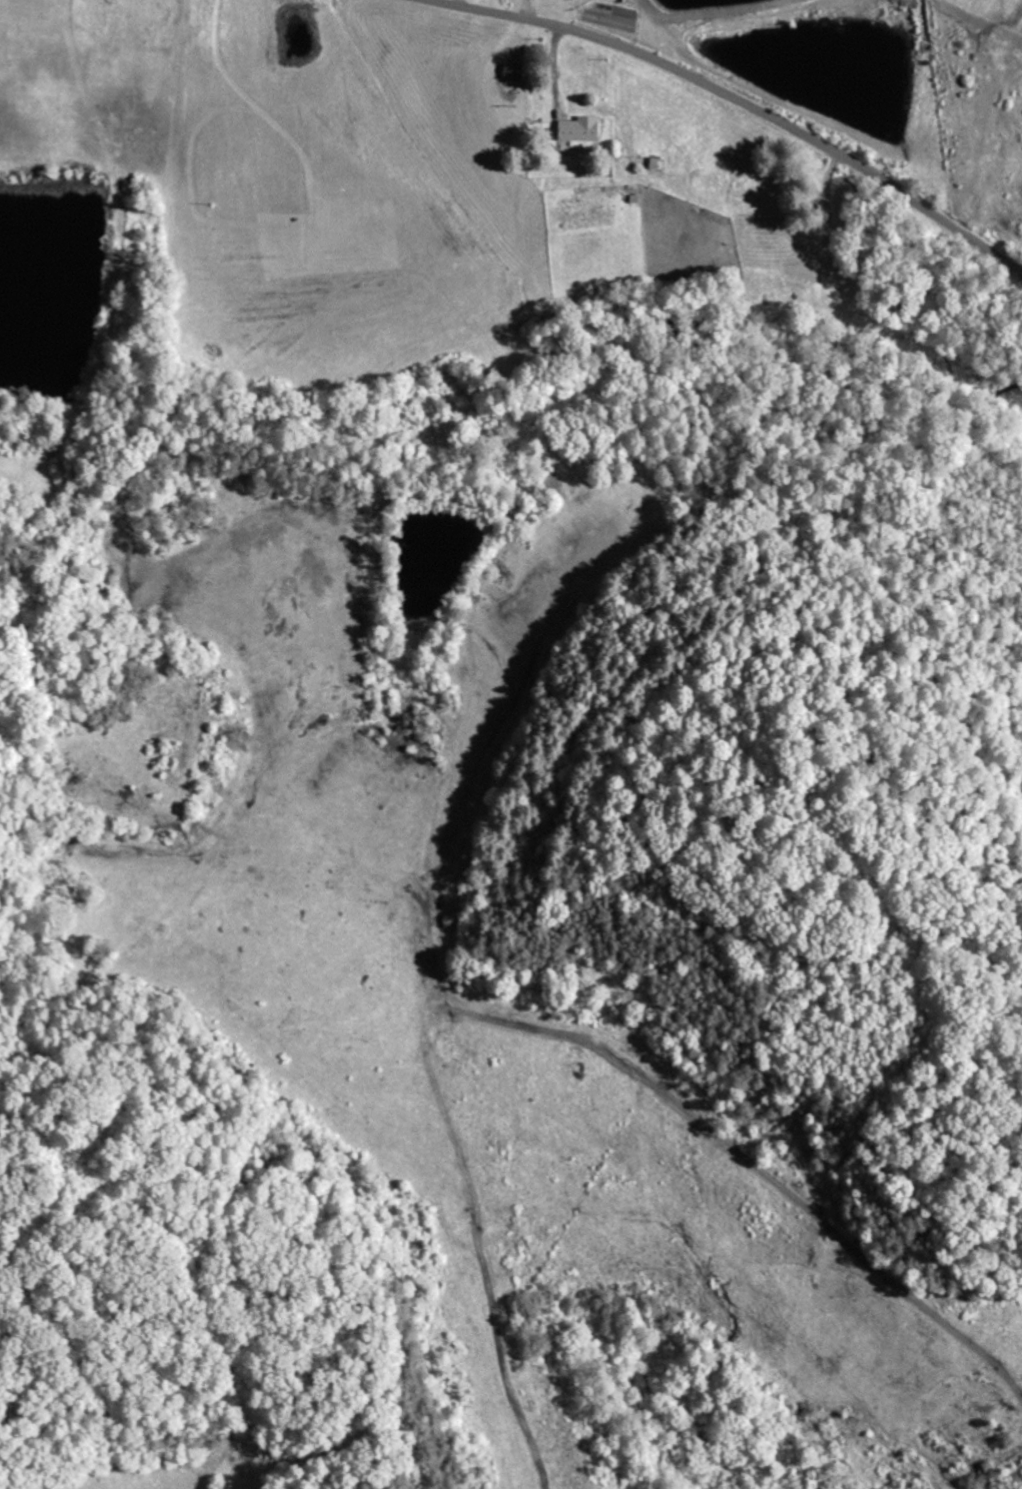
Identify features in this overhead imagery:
road: (744, 101)
building: (577, 129)

